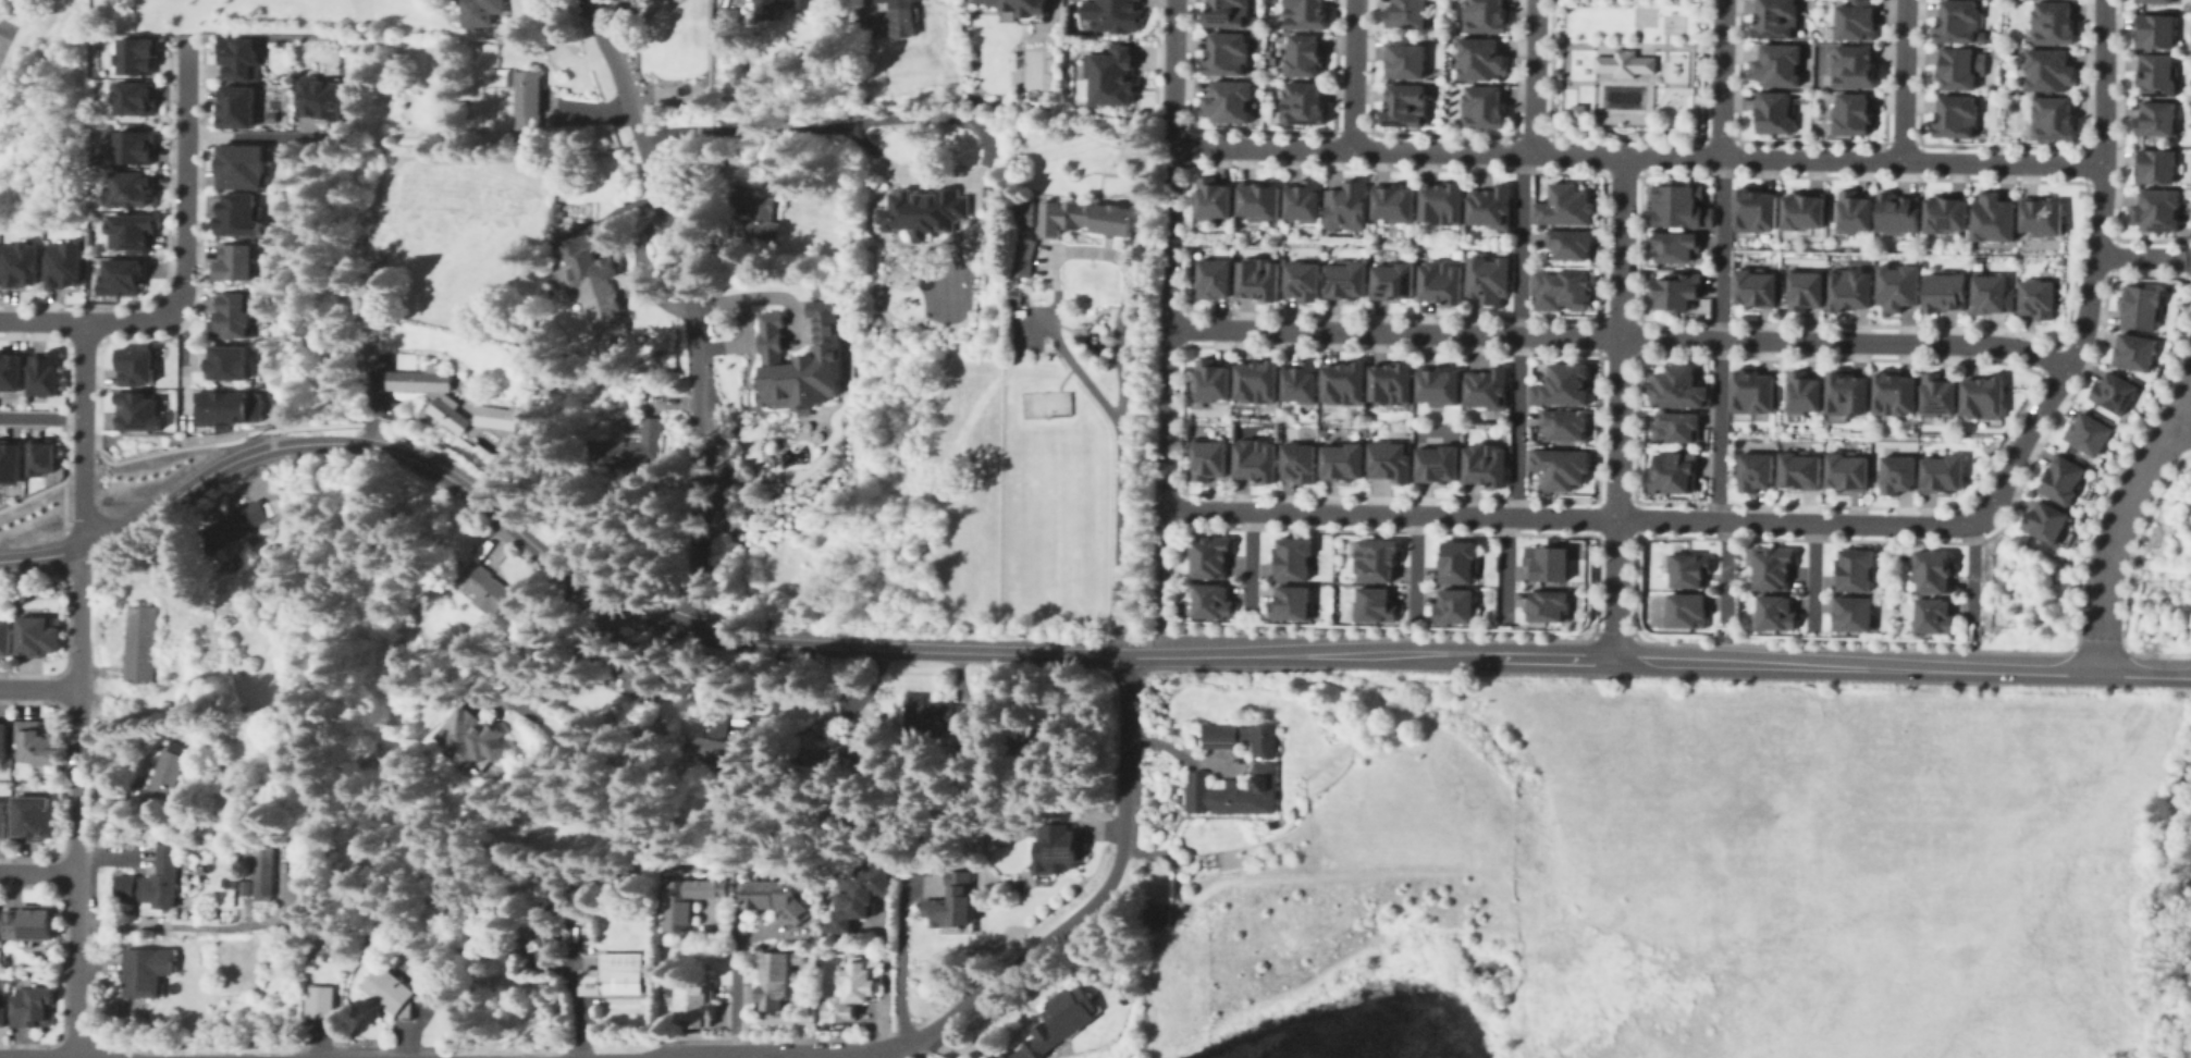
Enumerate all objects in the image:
building: (784, 2)
building: (2153, 2)
building: (1025, 7)
building: (1231, 12)
building: (1109, 13)
building: (482, 14)
building: (1405, 14)
building: (1480, 14)
park: (1644, 14)
building: (1303, 15)
building: (726, 16)
building: (899, 17)
building: (1774, 19)
building: (1852, 21)
building: (1958, 21)
road: (1636, 22)
park: (1673, 22)
building: (2051, 22)
road: (2, 28)
building: (699, 28)
road: (1664, 35)
building: (2157, 36)
road: (1629, 41)
building: (1231, 53)
building: (137, 56)
building: (1402, 56)
building: (237, 58)
building: (1301, 58)
building: (1477, 58)
road: (1172, 59)
building: (1626, 64)
building: (1775, 66)
building: (1850, 66)
building: (1957, 69)
building: (2050, 72)
building: (1111, 73)
road: (1354, 75)
road: (1535, 76)
road: (1564, 76)
building: (2154, 76)
road: (1723, 79)
road: (1581, 81)
road: (1906, 81)
road: (1598, 95)
building: (316, 96)
building: (134, 98)
building: (530, 101)
building: (1232, 101)
building: (1300, 106)
building: (1479, 106)
building: (235, 108)
building: (1404, 109)
building: (1577, 109)
road: (918, 113)
building: (1771, 113)
building: (1852, 116)
building: (1956, 116)
building: (2056, 121)
building: (2152, 121)
road: (247, 136)
building: (520, 142)
building: (134, 147)
road: (1638, 156)
building: (2154, 167)
building: (241, 168)
building: (126, 184)
building: (1209, 193)
building: (993, 194)
building: (1256, 195)
building: (1302, 196)
building: (1391, 197)
building: (1440, 197)
building: (1679, 199)
building: (1345, 200)
building: (1563, 200)
building: (1490, 202)
building: (1756, 204)
building: (753, 209)
building: (1021, 209)
building: (1804, 209)
building: (923, 210)
building: (1849, 210)
building: (2154, 210)
building: (555, 211)
building: (1896, 211)
building: (1084, 212)
building: (2044, 212)
building: (236, 213)
building: (1945, 213)
building: (1991, 218)
building: (128, 232)
building: (1571, 244)
building: (1672, 244)
building: (1022, 254)
road: (2138, 255)
road: (2186, 256)
building: (235, 263)
building: (20, 264)
building: (63, 264)
road: (2092, 270)
building: (590, 272)
building: (1256, 273)
building: (1488, 274)
building: (1343, 275)
building: (1438, 275)
building: (1211, 276)
building: (1301, 276)
building: (1389, 276)
building: (122, 278)
road: (179, 285)
building: (1559, 285)
building: (1755, 285)
building: (1895, 285)
building: (365, 286)
building: (1804, 287)
building: (1849, 287)
building: (1944, 290)
building: (1674, 291)
building: (1989, 293)
building: (1014, 296)
building: (2034, 296)
building: (2138, 305)
road: (688, 306)
road: (1168, 311)
building: (232, 318)
road: (41, 319)
road: (2186, 324)
road: (1618, 334)
road: (1515, 335)
building: (613, 340)
road: (1720, 341)
road: (1057, 346)
building: (2132, 350)
road: (183, 360)
building: (796, 362)
building: (230, 364)
building: (135, 365)
building: (10, 372)
building: (45, 373)
building: (418, 376)
building: (1254, 376)
building: (1342, 377)
building: (1300, 378)
building: (1390, 378)
building: (1207, 379)
building: (1437, 382)
building: (1561, 382)
building: (1678, 383)
building: (1487, 384)
building: (1751, 387)
building: (1895, 391)
building: (1843, 392)
building: (2110, 392)
building: (1800, 393)
building: (1938, 393)
building: (1983, 394)
park: (1045, 402)
building: (227, 405)
road: (1617, 407)
building: (138, 413)
building: (446, 413)
road: (41, 416)
building: (1563, 420)
building: (1674, 423)
road: (321, 426)
building: (489, 427)
building: (1320, 430)
road: (365, 432)
building: (2087, 433)
road: (97, 440)
building: (627, 443)
road: (181, 446)
building: (1252, 455)
building: (1204, 457)
building: (1389, 457)
building: (40, 458)
building: (1297, 458)
building: (1341, 458)
building: (1437, 460)
building: (1484, 460)
building: (10, 462)
building: (1751, 468)
building: (1565, 469)
building: (1672, 469)
building: (1796, 469)
building: (1845, 471)
building: (1942, 471)
building: (1894, 472)
road: (95, 476)
building: (2061, 479)
road: (60, 480)
road: (62, 503)
road: (1575, 519)
building: (231, 522)
building: (2043, 522)
road: (2116, 526)
road: (65, 538)
building: (1207, 553)
building: (1291, 553)
road: (40, 554)
building: (1374, 557)
building: (1457, 557)
road: (1248, 561)
building: (1771, 563)
building: (1551, 564)
road: (1413, 567)
building: (1686, 568)
road: (1504, 569)
building: (1851, 569)
building: (1934, 569)
road: (1970, 571)
road: (1725, 574)
road: (1812, 576)
road: (1159, 578)
road: (590, 585)
building: (491, 590)
building: (1209, 598)
building: (1290, 600)
building: (1374, 601)
building: (1454, 603)
building: (1551, 607)
building: (1681, 608)
building: (1776, 608)
building: (1847, 612)
building: (1933, 613)
building: (38, 632)
building: (5, 633)
building: (139, 641)
road: (1675, 660)
building: (623, 663)
road: (40, 687)
building: (933, 711)
building: (825, 722)
building: (468, 735)
building: (1240, 736)
building: (4, 738)
building: (857, 738)
building: (36, 739)
building: (713, 743)
road: (81, 756)
building: (162, 777)
building: (1233, 790)
building: (34, 815)
building: (3, 817)
building: (1056, 848)
road: (39, 871)
building: (258, 871)
building: (150, 878)
building: (223, 881)
building: (233, 881)
building: (765, 891)
building: (854, 893)
building: (685, 898)
building: (952, 900)
road: (1085, 910)
building: (1157, 914)
building: (28, 921)
building: (952, 928)
building: (529, 932)
road: (733, 954)
road: (898, 956)
building: (144, 969)
building: (614, 974)
building: (774, 979)
building: (386, 988)
building: (850, 988)
building: (699, 999)
building: (317, 1000)
building: (32, 1004)
building: (2, 1014)
building: (1057, 1021)
road: (759, 1056)

